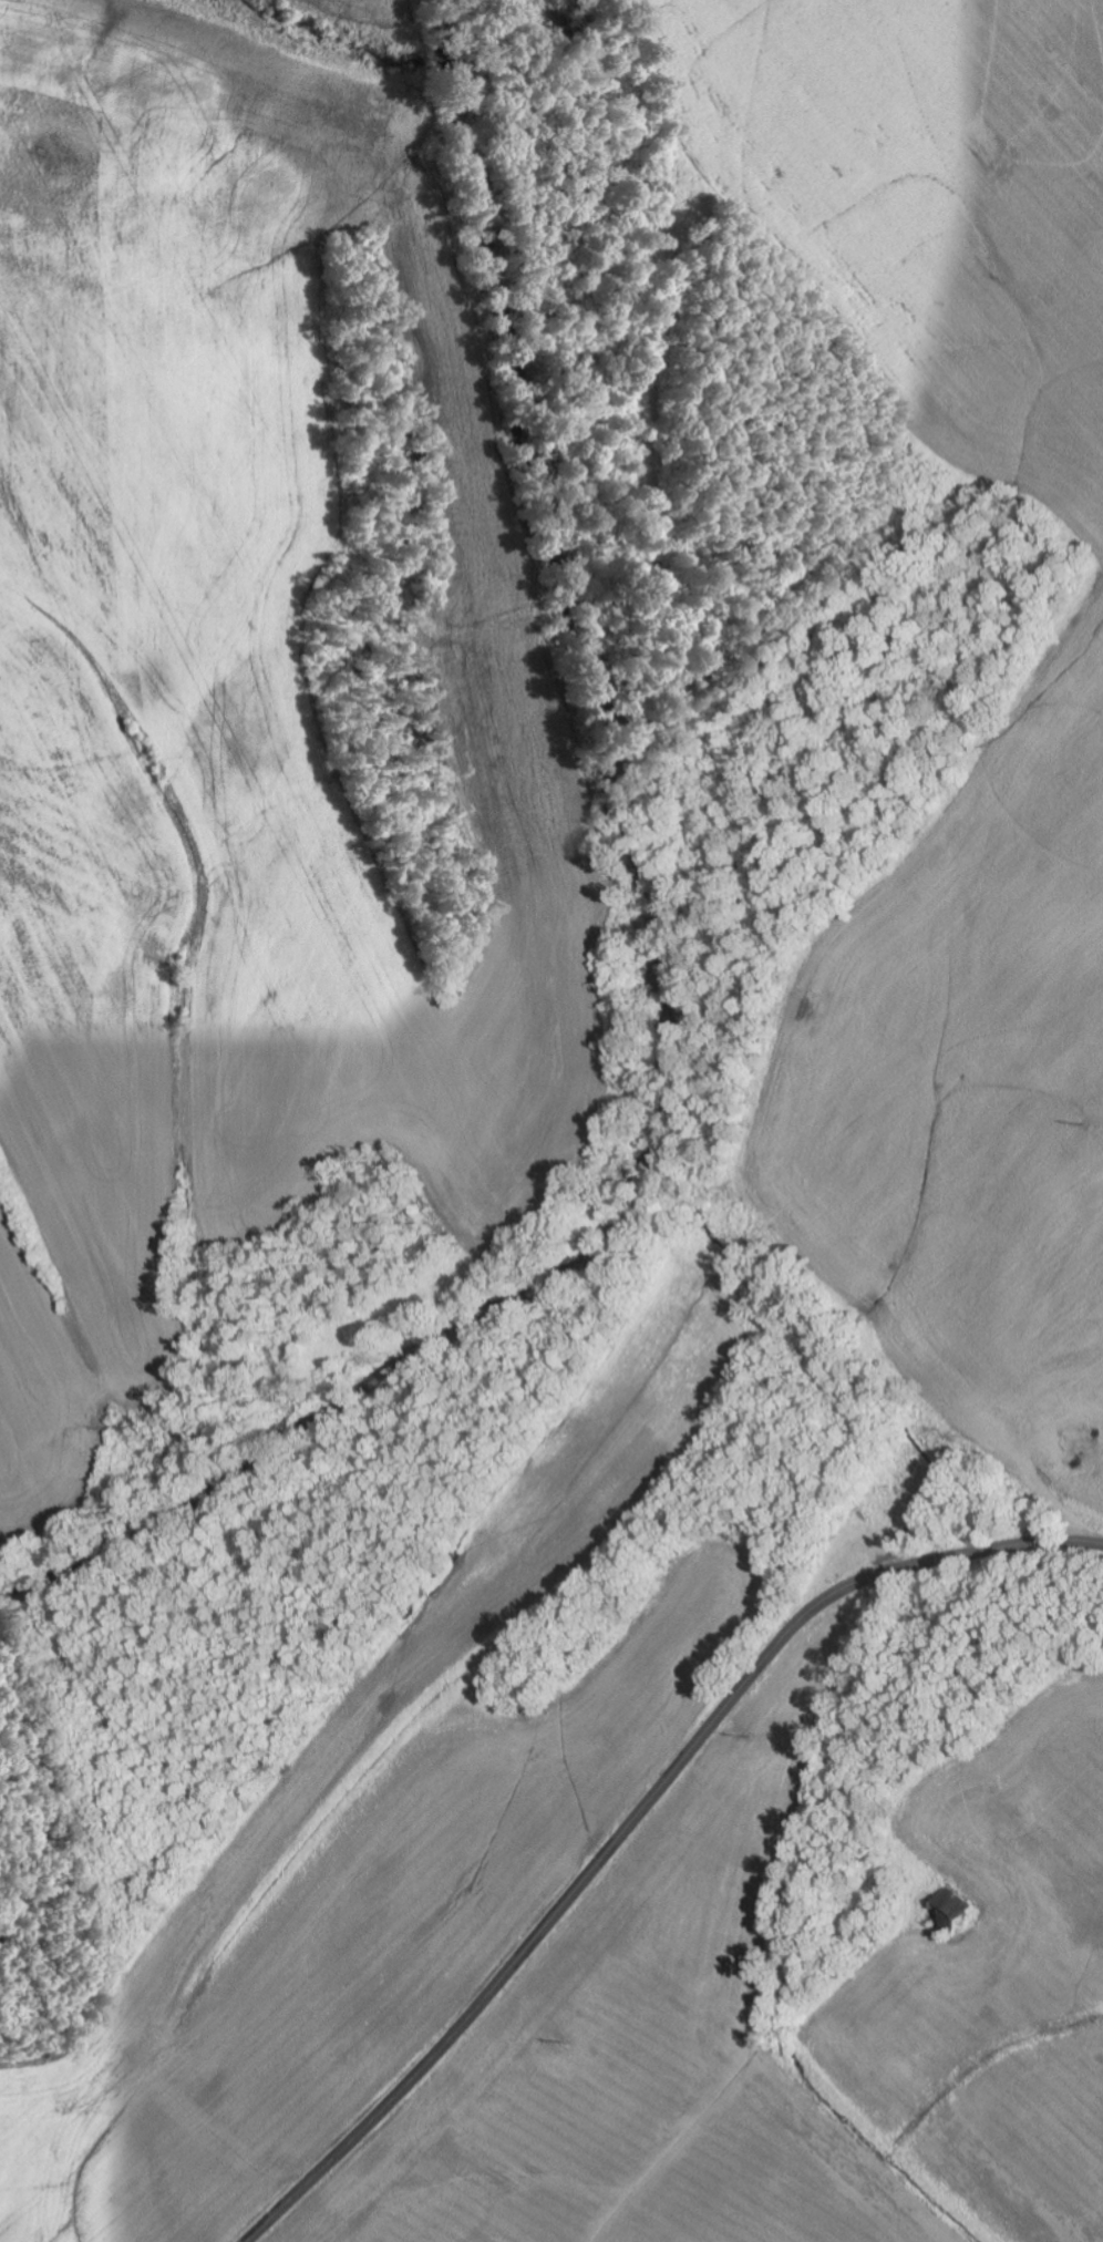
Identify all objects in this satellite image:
road: (636, 1818)
building: (958, 1915)

